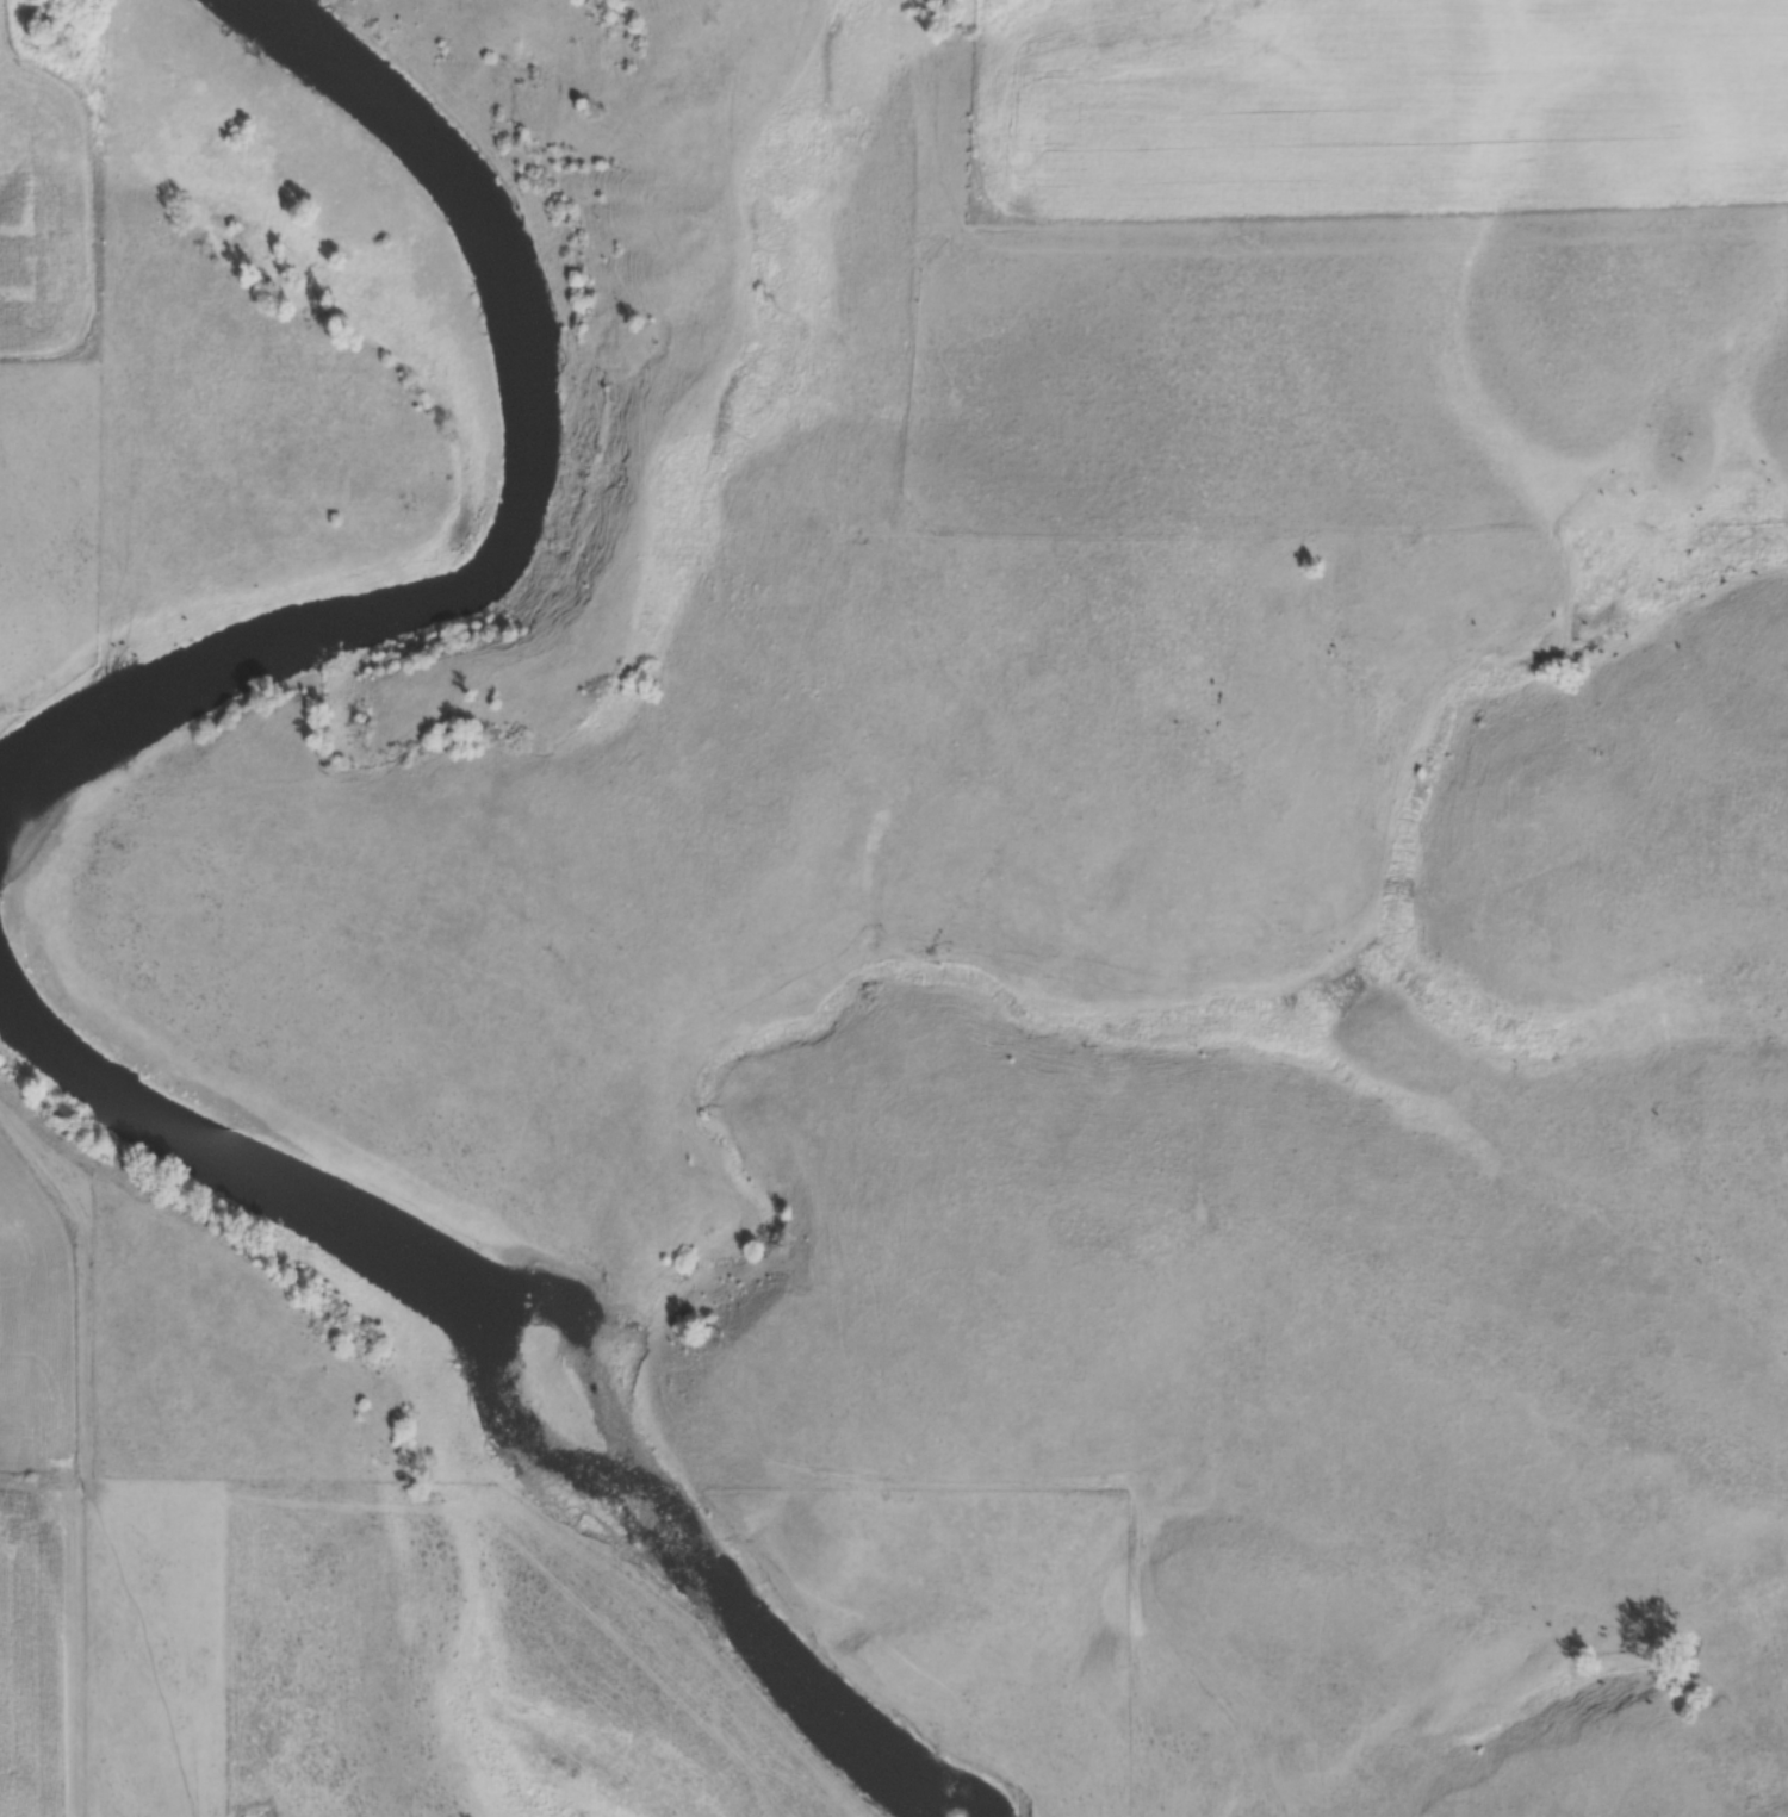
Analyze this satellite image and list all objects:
river: (514, 492)
river: (493, 1338)

